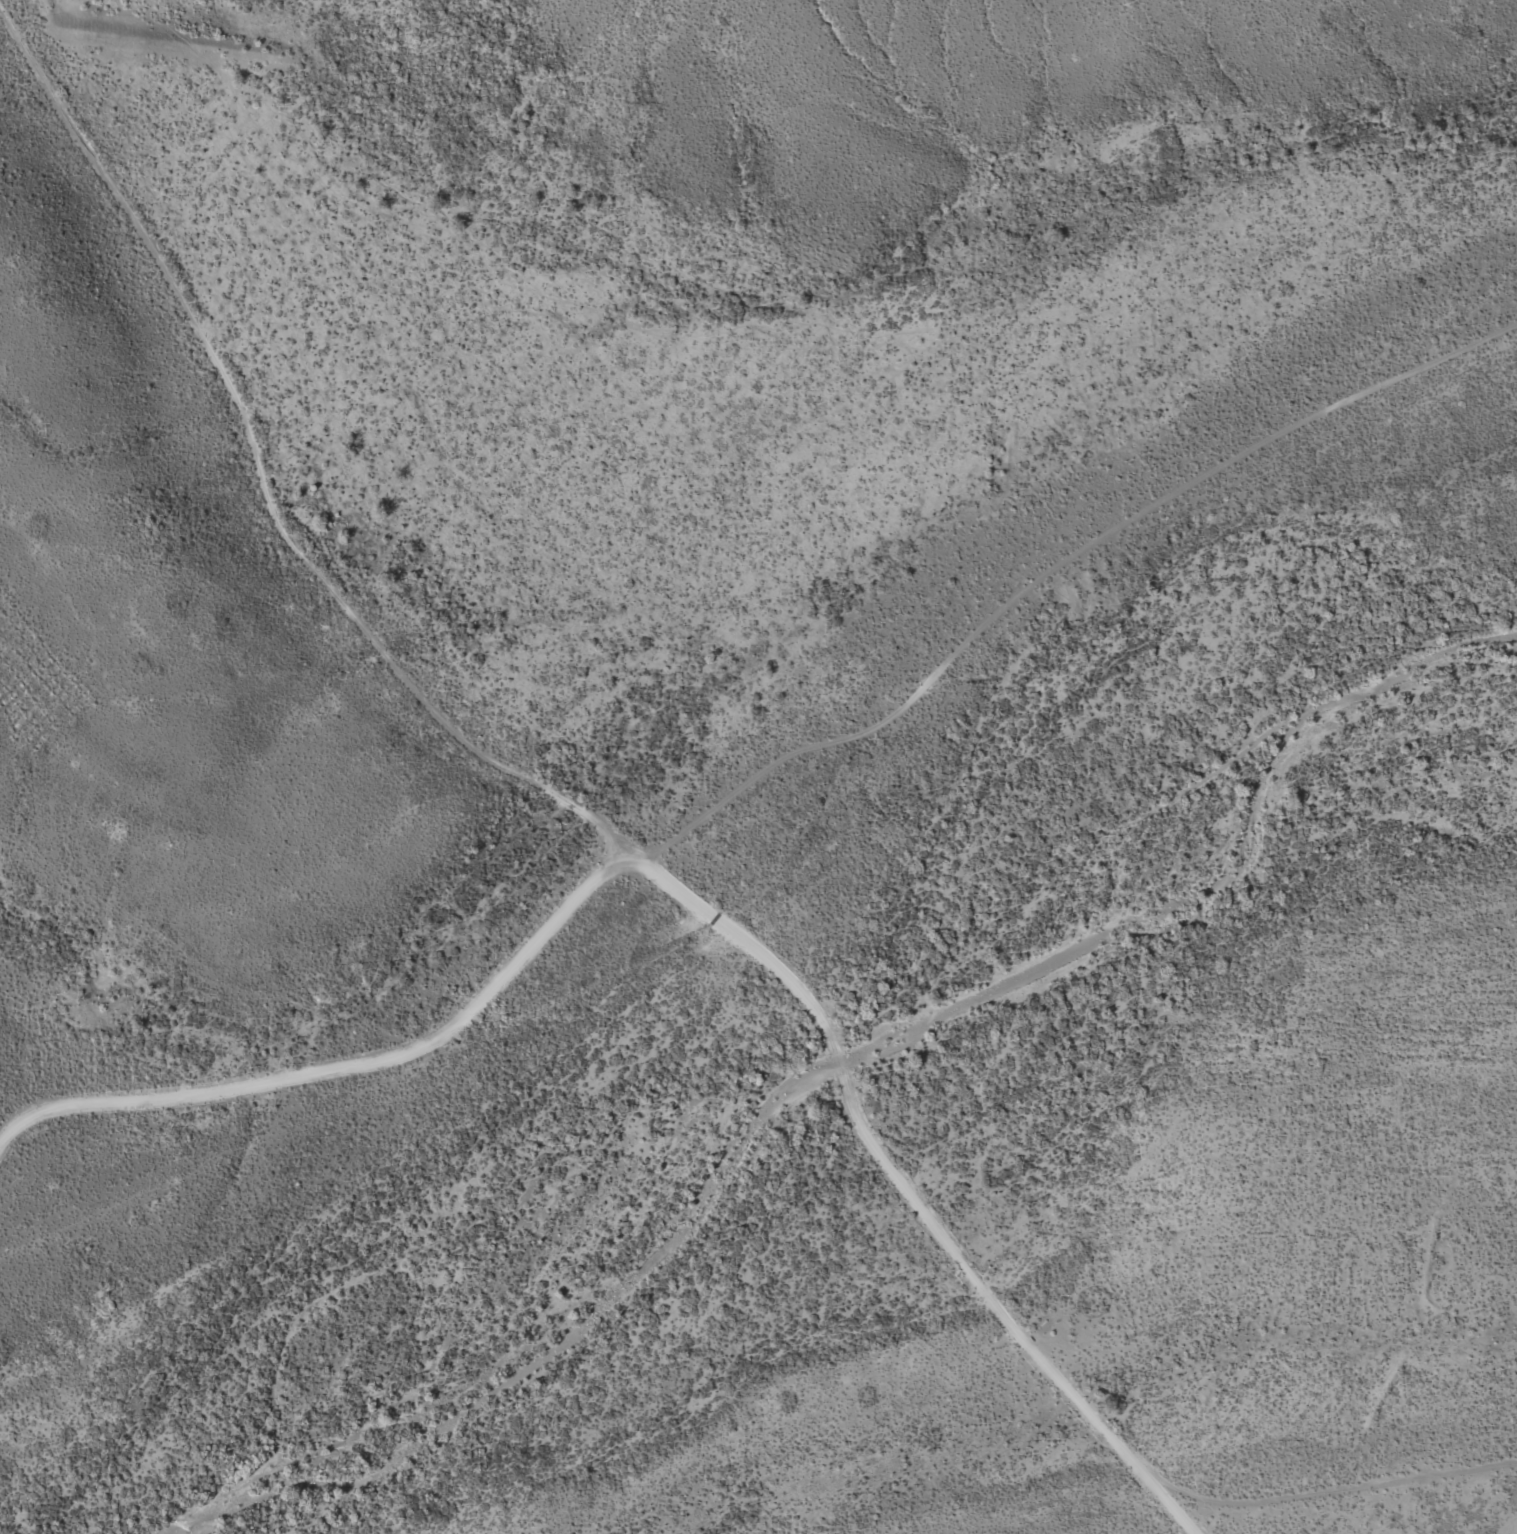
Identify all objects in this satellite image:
road: (656, 834)
road: (394, 1096)

